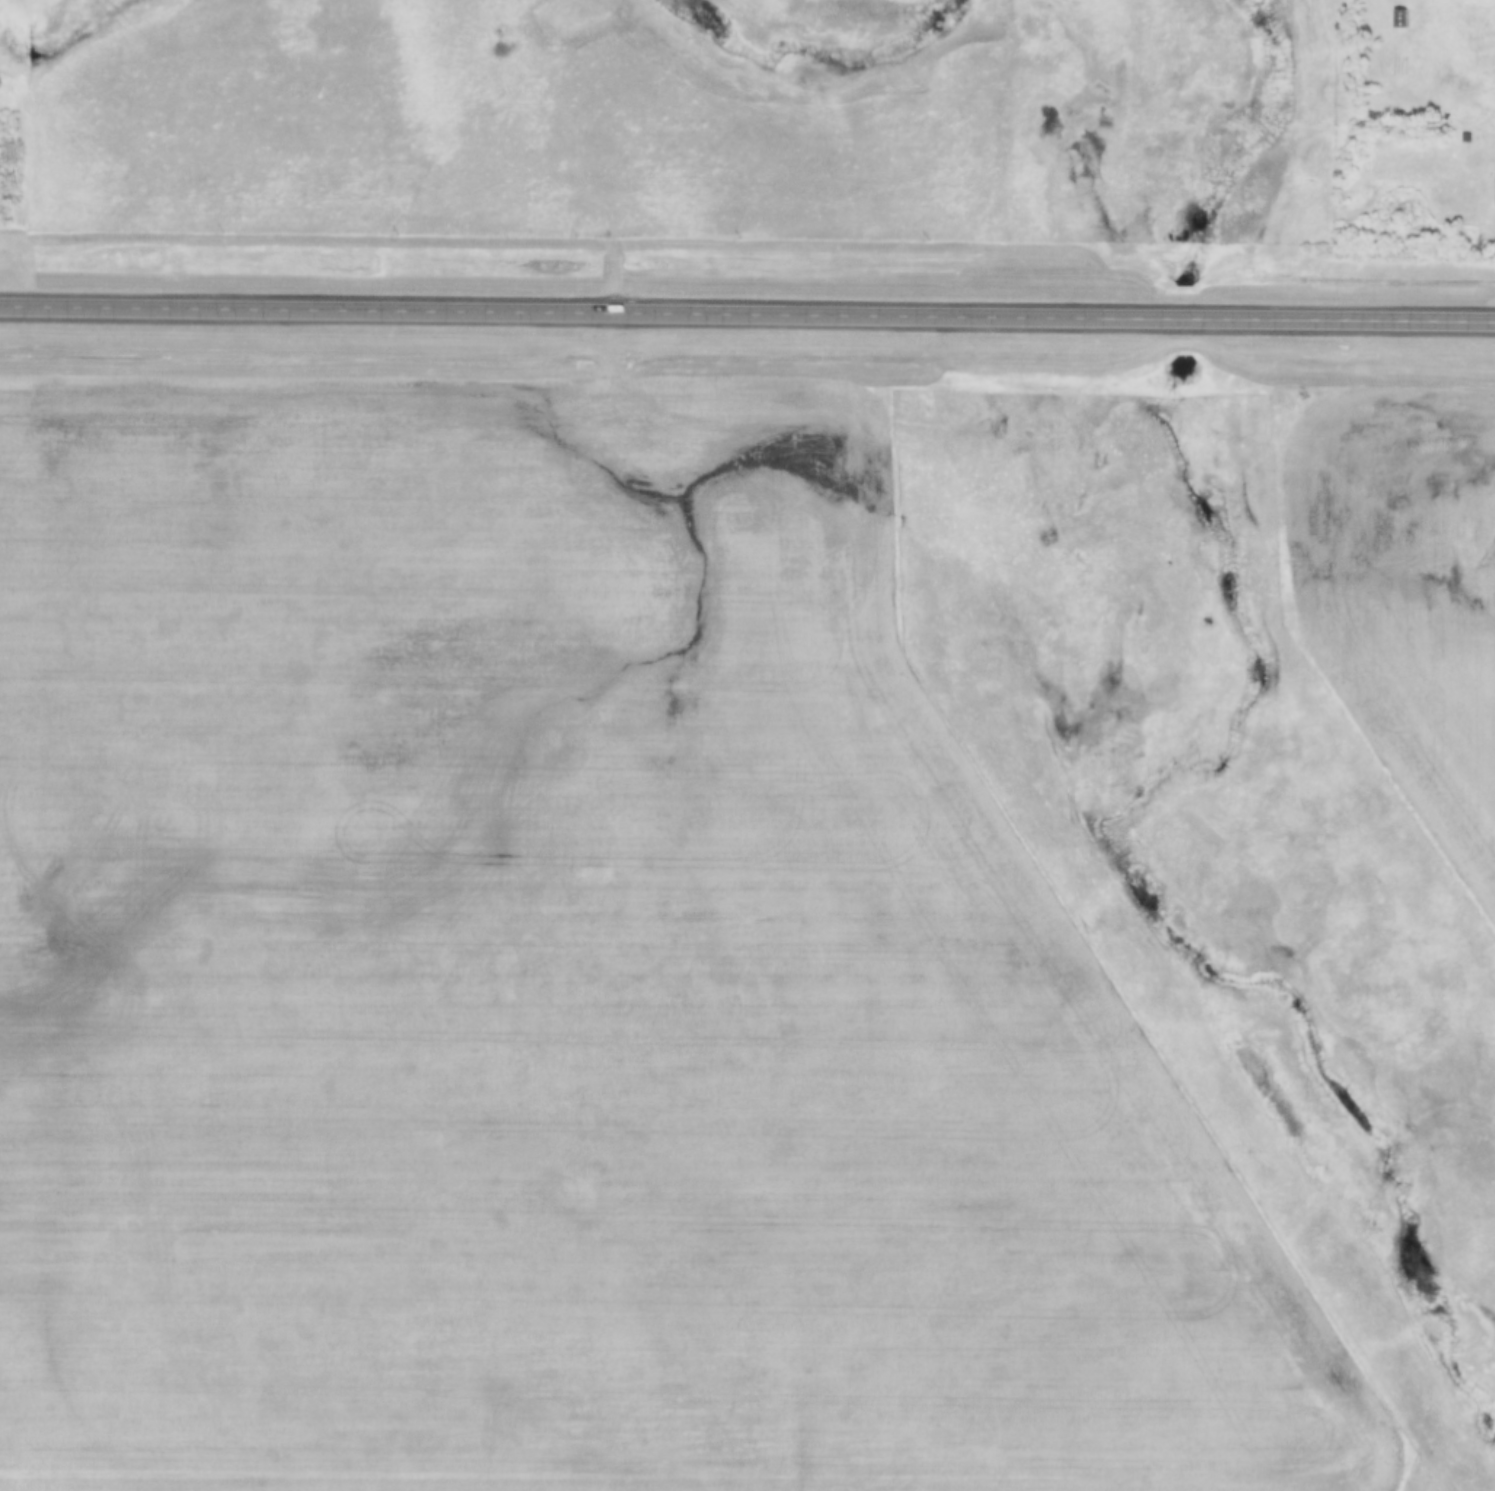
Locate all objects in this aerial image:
building: (1397, 18)
building: (1464, 137)
road: (607, 175)
building: (1494, 188)
road: (747, 313)

